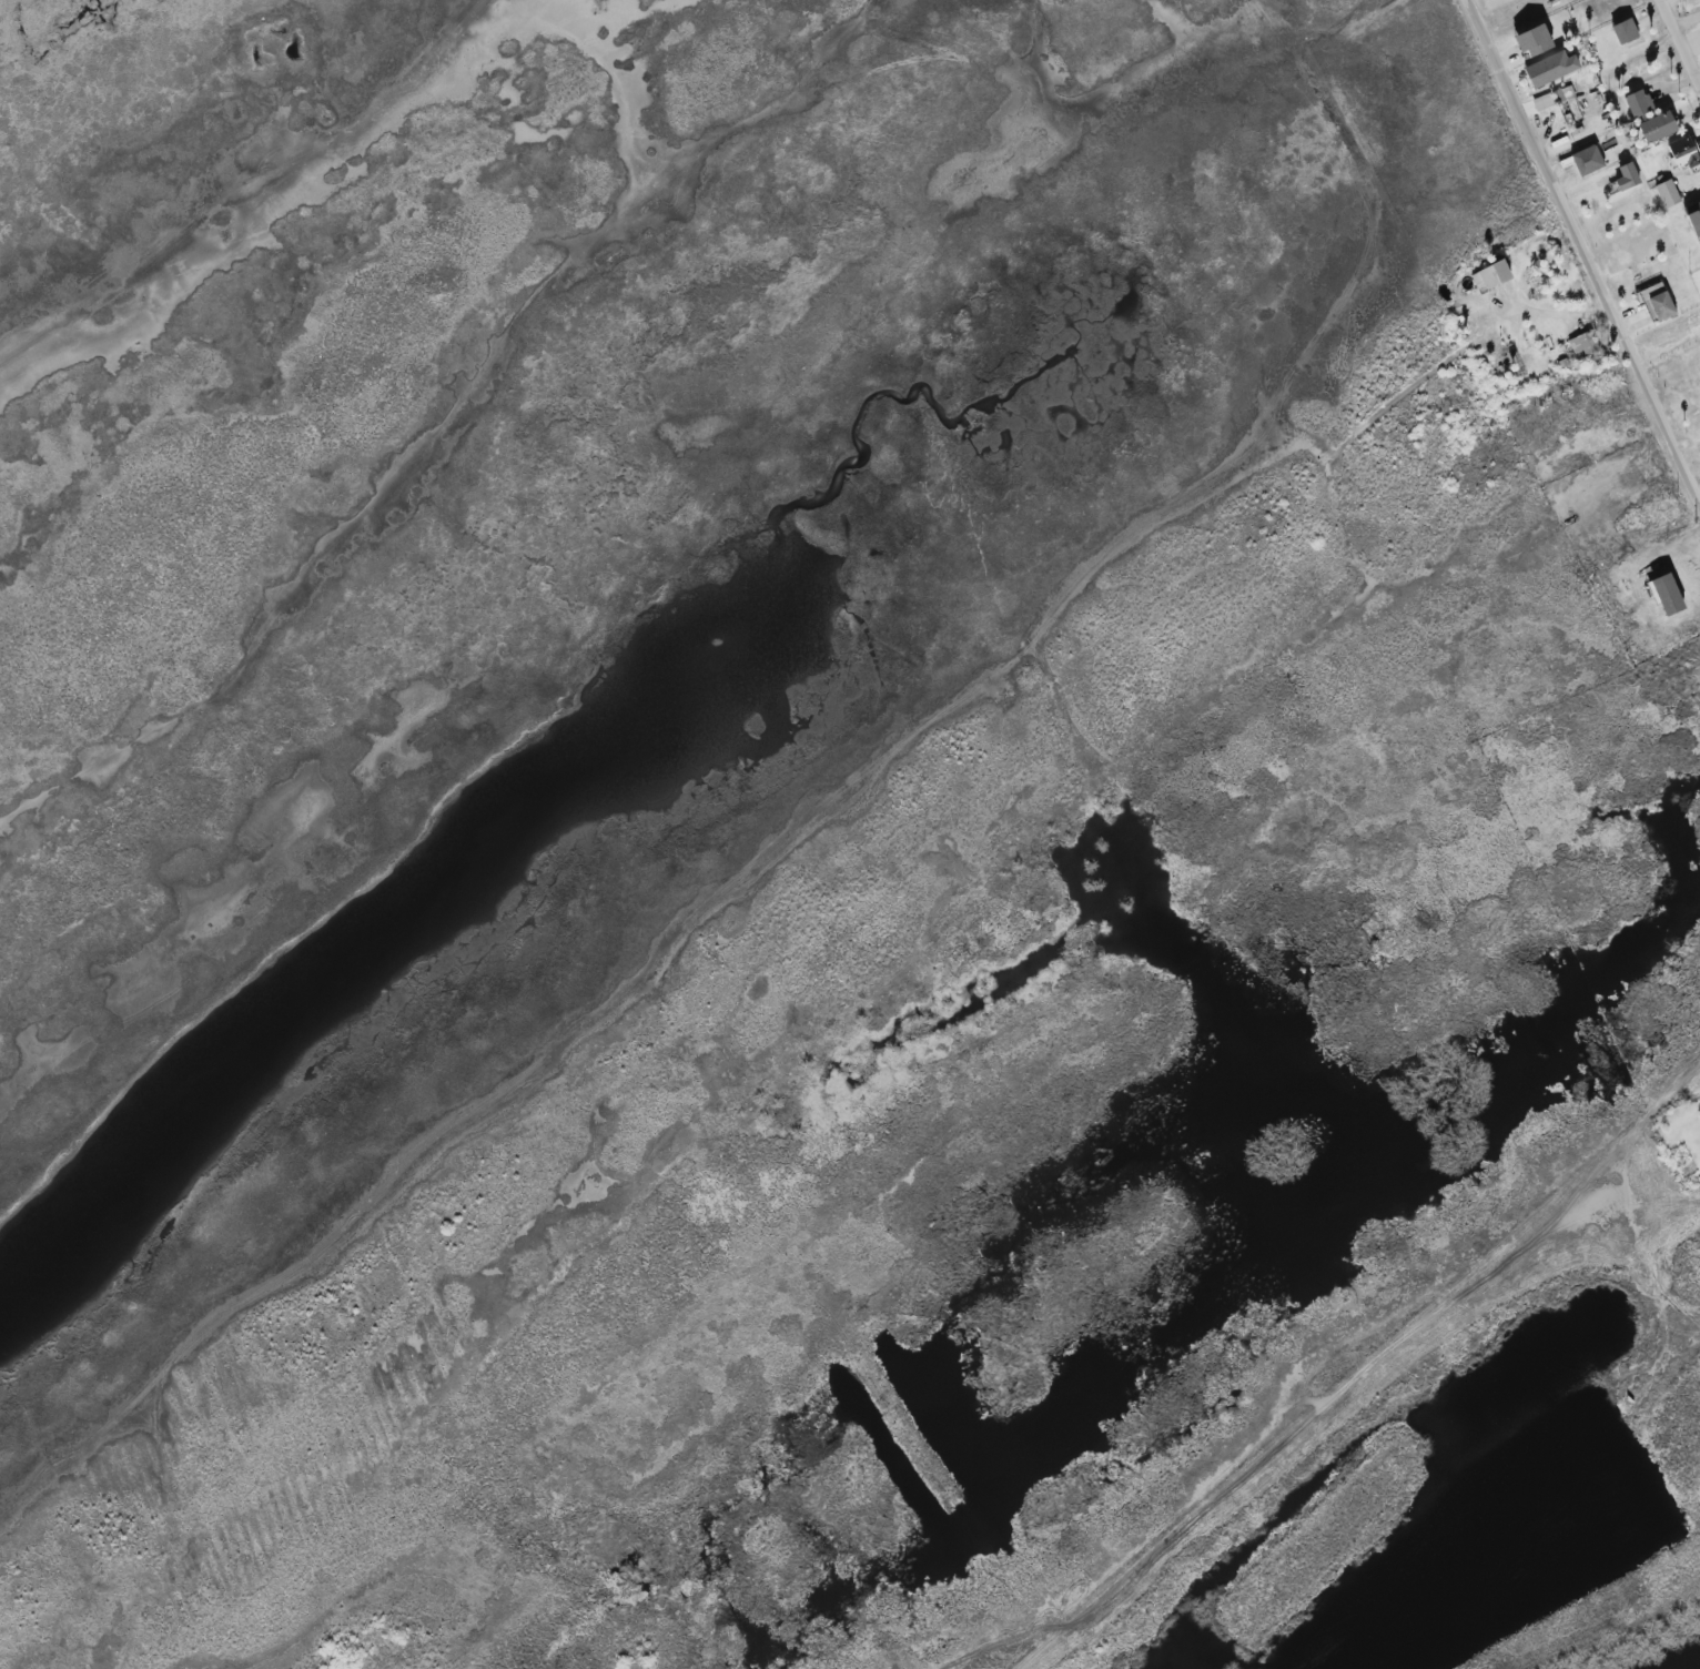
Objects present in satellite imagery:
road: (1687, 23)
building: (1626, 31)
building: (1534, 41)
road: (1679, 43)
building: (1551, 69)
building: (1566, 94)
building: (1544, 102)
building: (1639, 103)
building: (1657, 127)
building: (1684, 151)
building: (1588, 160)
building: (1625, 179)
building: (1669, 193)
building: (1694, 216)
road: (1583, 252)
building: (1491, 275)
building: (1659, 303)
building: (1583, 344)

